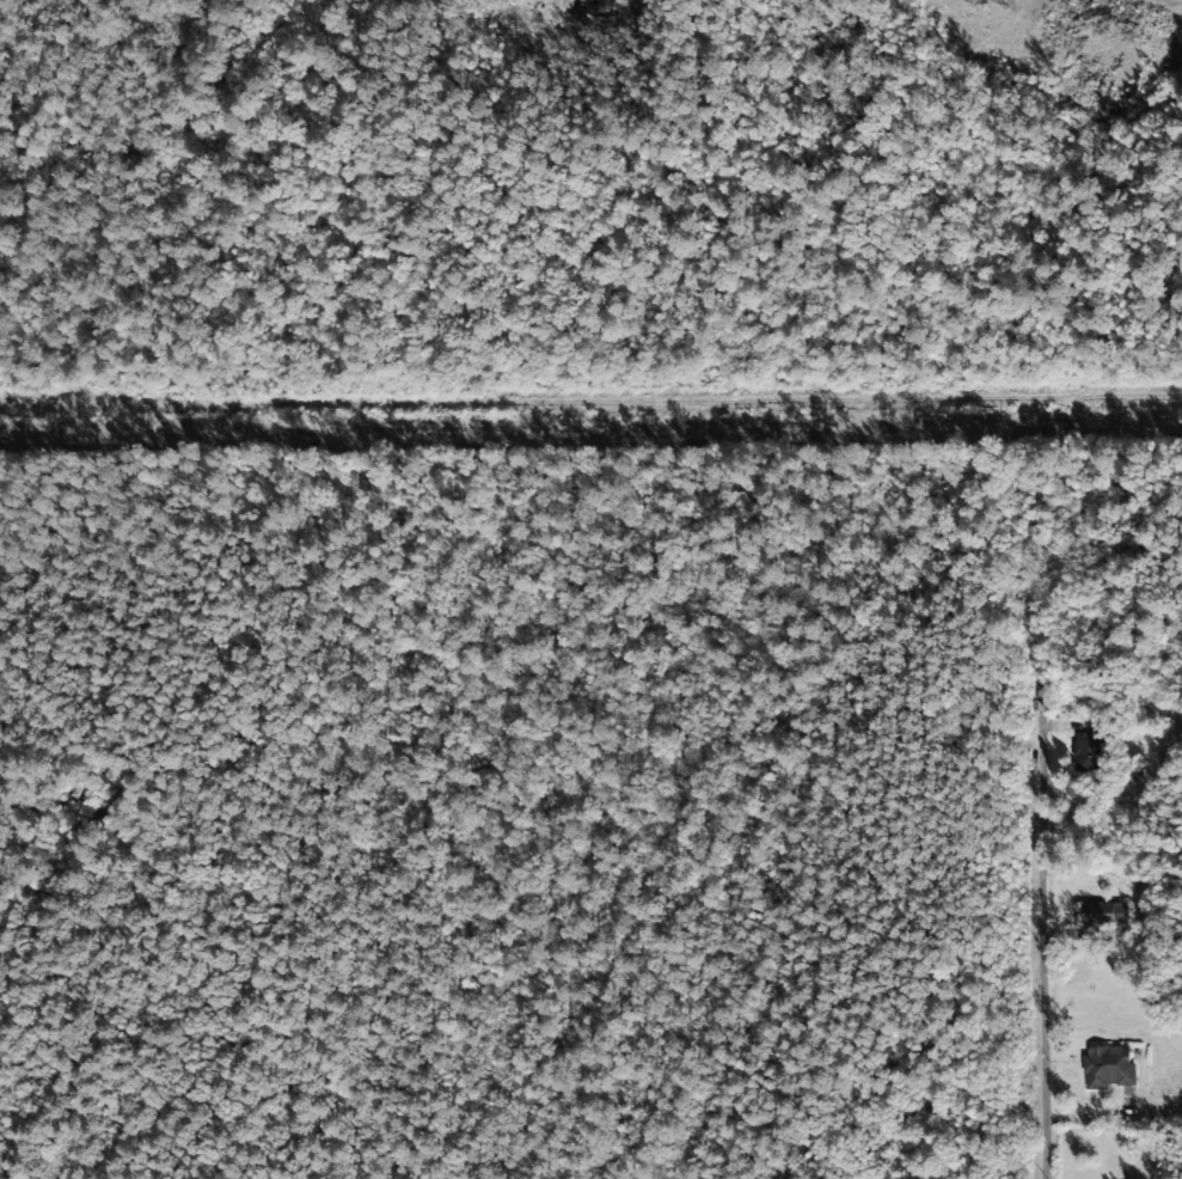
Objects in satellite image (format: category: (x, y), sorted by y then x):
road: (1019, 903)

